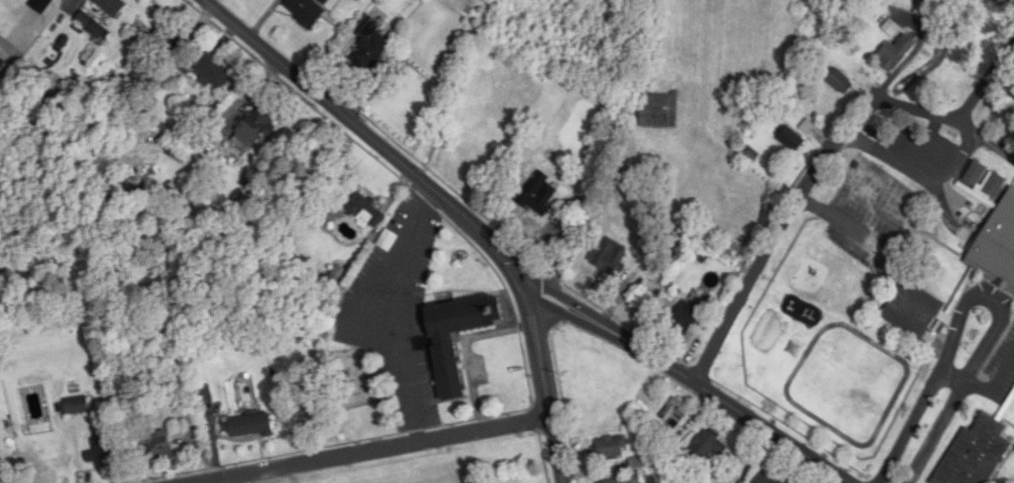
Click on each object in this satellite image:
building: (111, 6)
building: (304, 11)
building: (90, 26)
building: (892, 28)
building: (368, 47)
building: (895, 53)
building: (212, 74)
building: (840, 82)
road: (990, 84)
building: (658, 111)
building: (253, 129)
building: (791, 140)
road: (989, 141)
road: (925, 144)
road: (916, 165)
building: (995, 183)
building: (541, 197)
road: (798, 199)
road: (447, 202)
building: (362, 208)
building: (997, 247)
road: (551, 250)
building: (611, 256)
road: (984, 296)
building: (917, 311)
road: (397, 315)
building: (687, 316)
building: (445, 349)
road: (953, 377)
road: (693, 382)
building: (76, 406)
building: (677, 412)
building: (249, 427)
building: (707, 447)
building: (158, 448)
building: (611, 448)
road: (380, 451)
building: (975, 453)
building: (101, 456)
building: (636, 464)
road: (844, 480)

